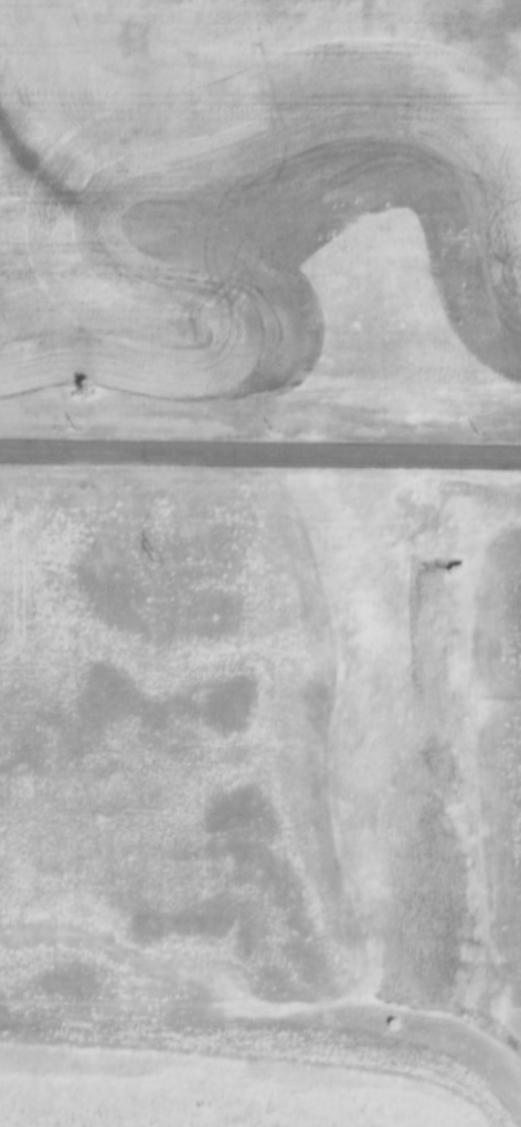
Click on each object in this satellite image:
road: (259, 454)
power tower: (146, 553)

